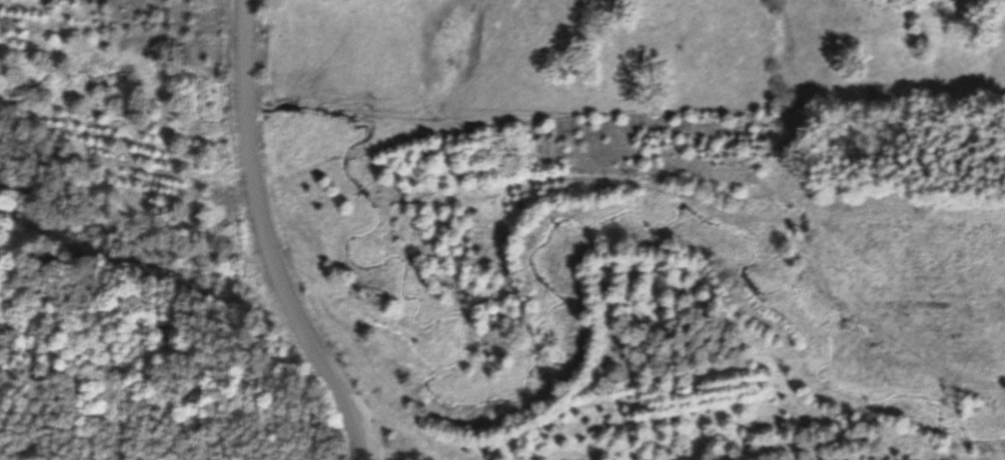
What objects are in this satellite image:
road: (267, 238)

